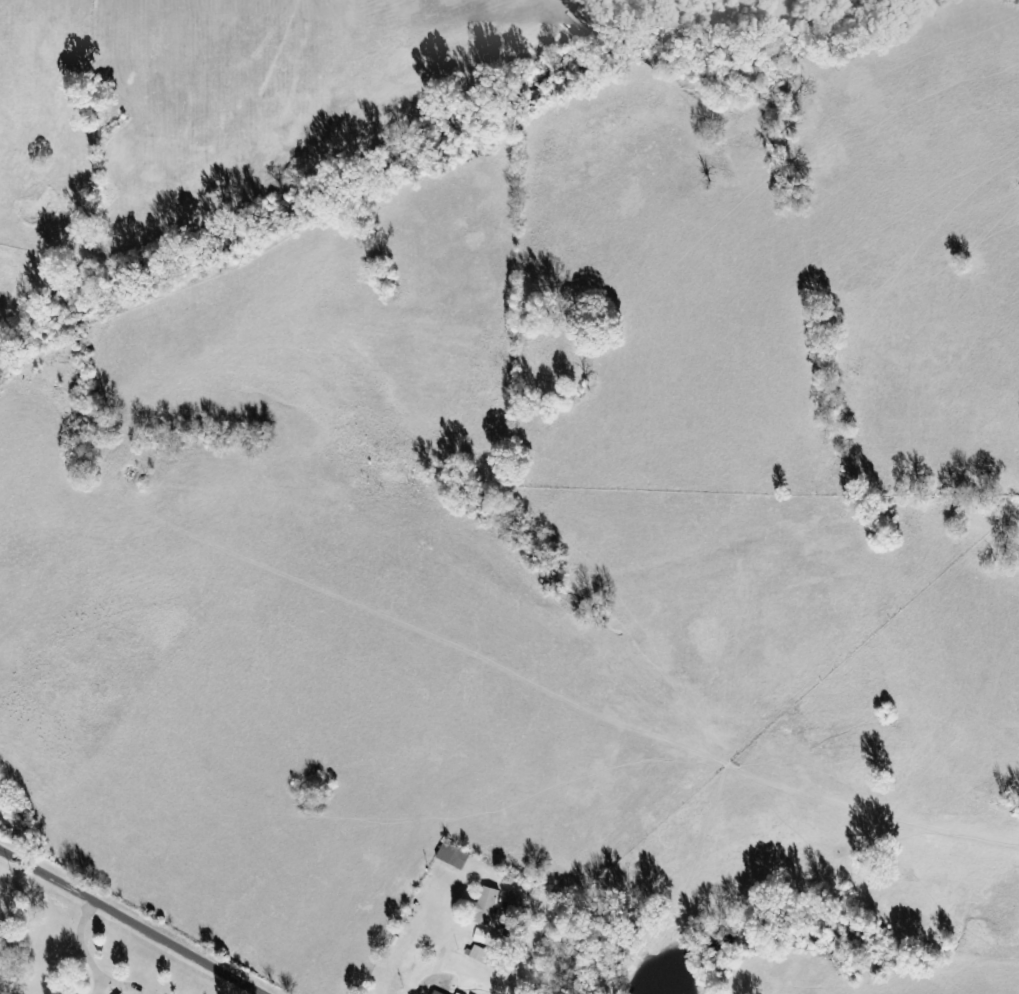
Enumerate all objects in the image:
road: (947, 818)
building: (455, 855)
building: (488, 906)
road: (125, 923)
building: (481, 936)
building: (485, 956)
building: (438, 992)

